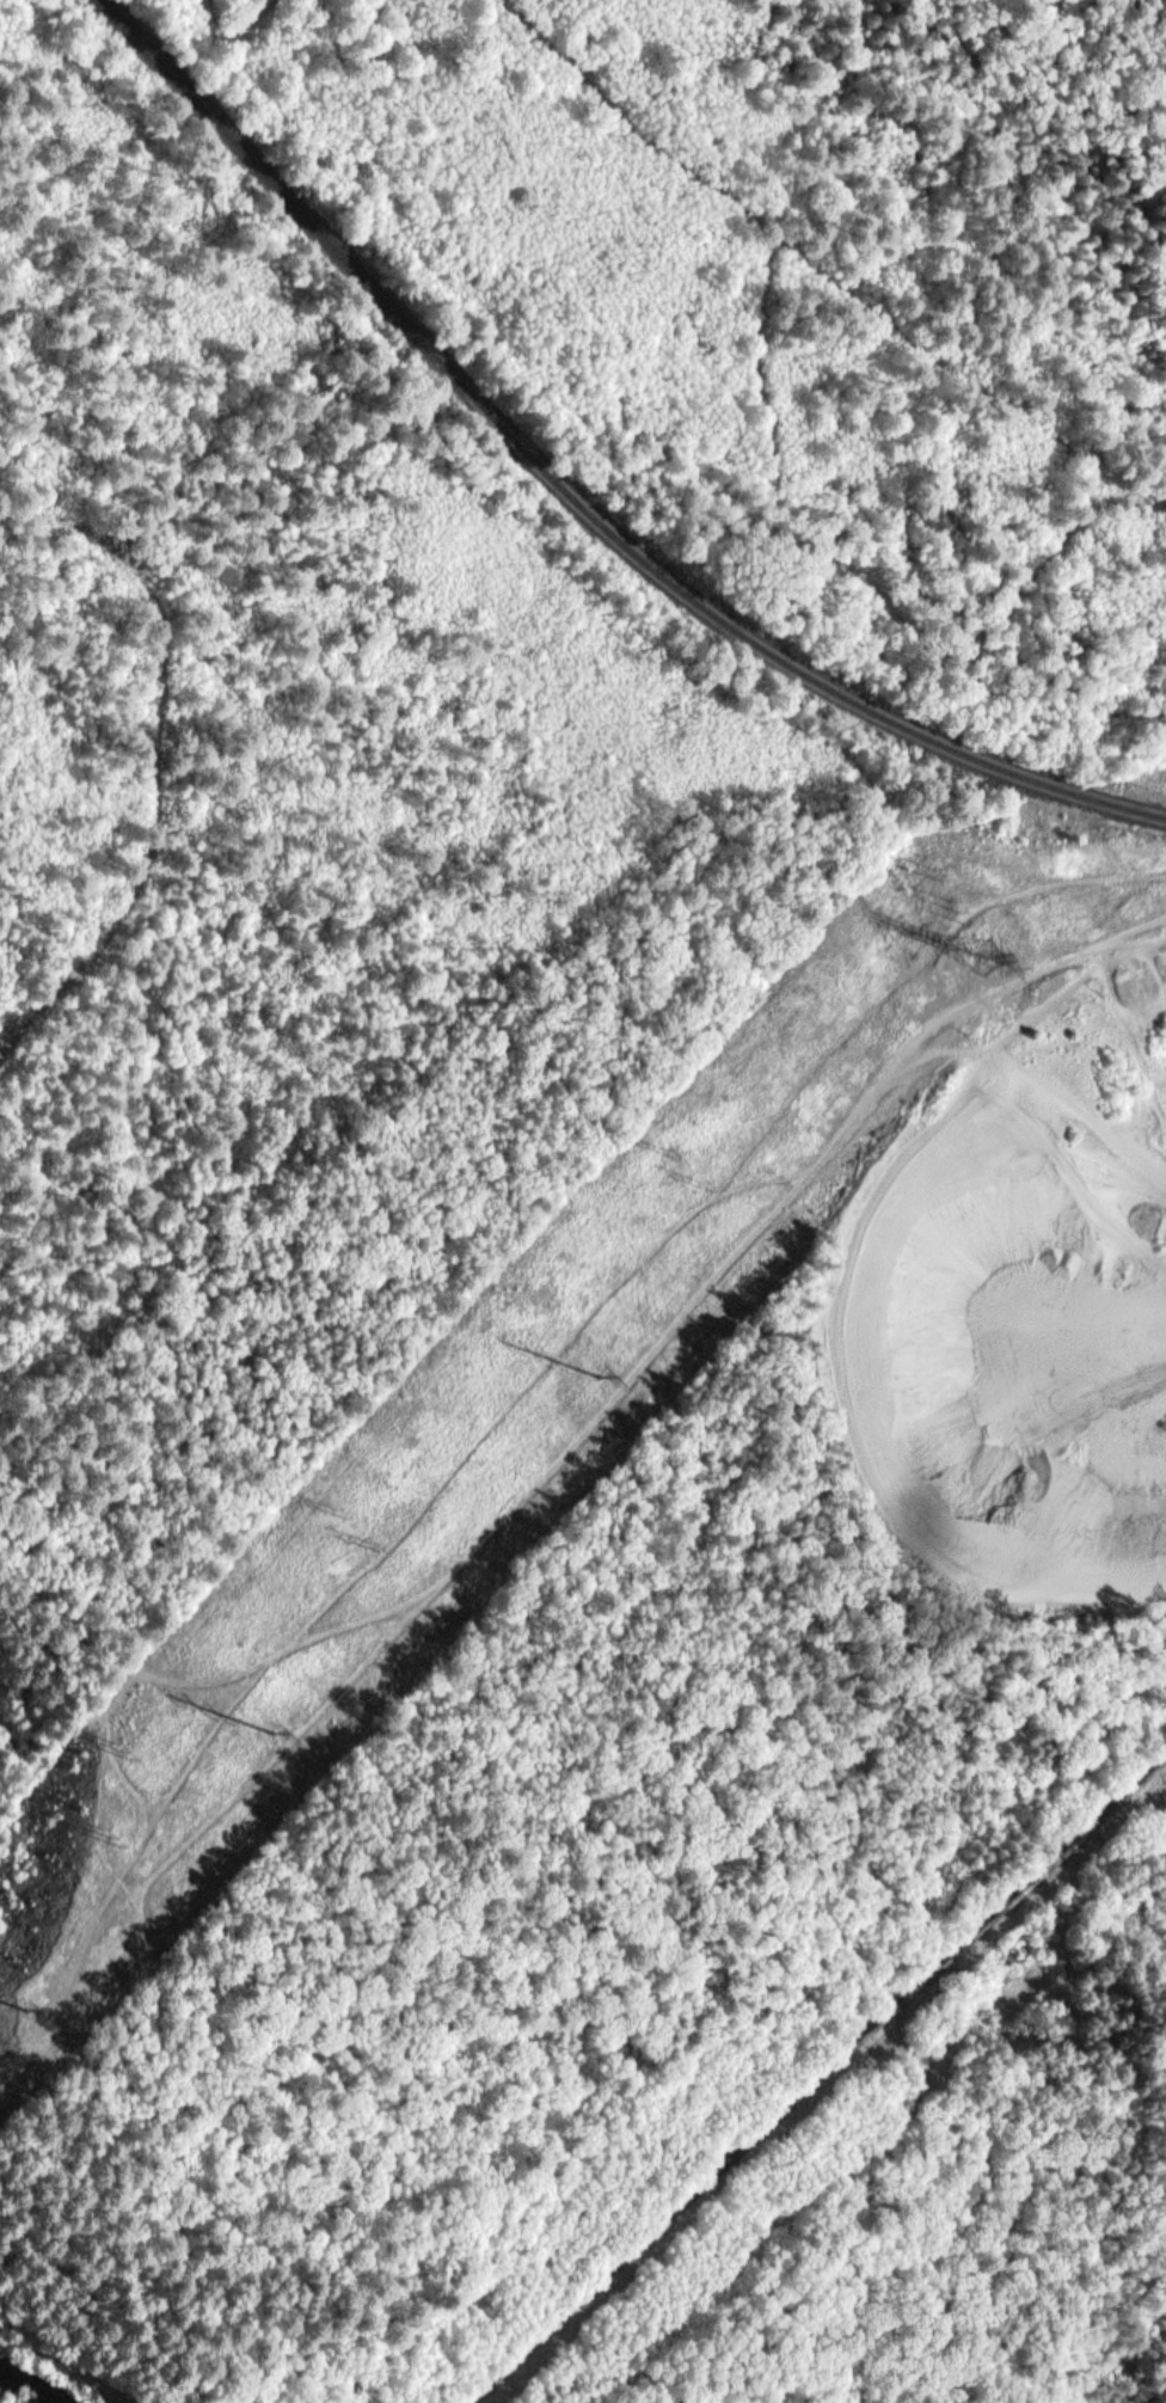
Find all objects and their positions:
road: (239, 12)
road: (1124, 36)
road: (773, 477)
railway: (576, 492)
power tower: (935, 866)
power tower: (965, 907)
power tower: (984, 962)
power tower: (674, 1151)
power tower: (708, 1187)
power tower: (600, 1375)
road: (610, 1396)
power tower: (345, 1510)
power tower: (380, 1543)
power tower: (275, 1730)
building: (1164, 1741)
road: (294, 1742)
power tower: (122, 1749)
power tower: (104, 1835)
road: (698, 1984)
power tower: (14, 2006)
road: (149, 2018)
road: (827, 2095)
road: (859, 2220)
road: (98, 2327)
road: (55, 2359)

